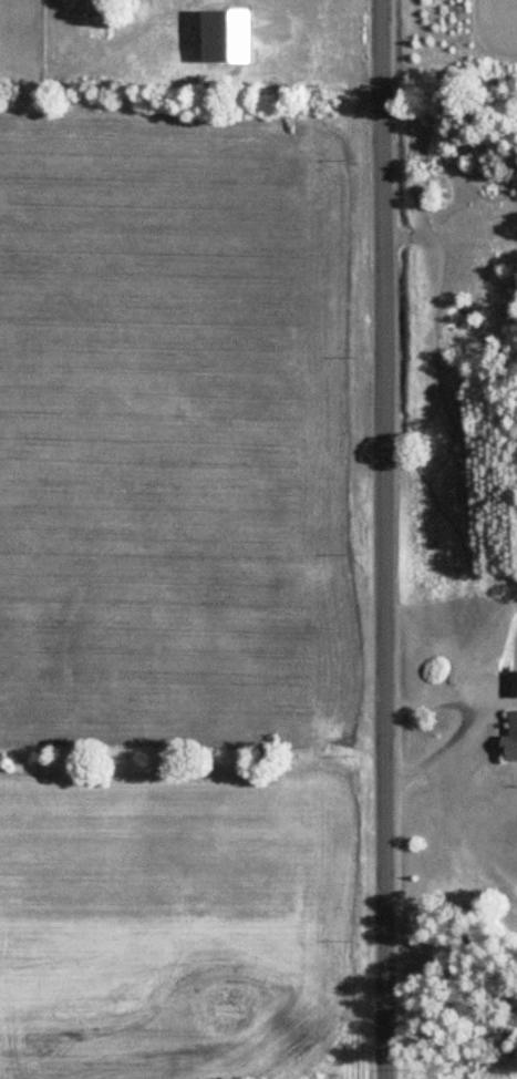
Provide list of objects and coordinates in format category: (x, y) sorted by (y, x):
road: (383, 539)
building: (511, 685)
road: (443, 703)
building: (511, 725)
road: (434, 749)

